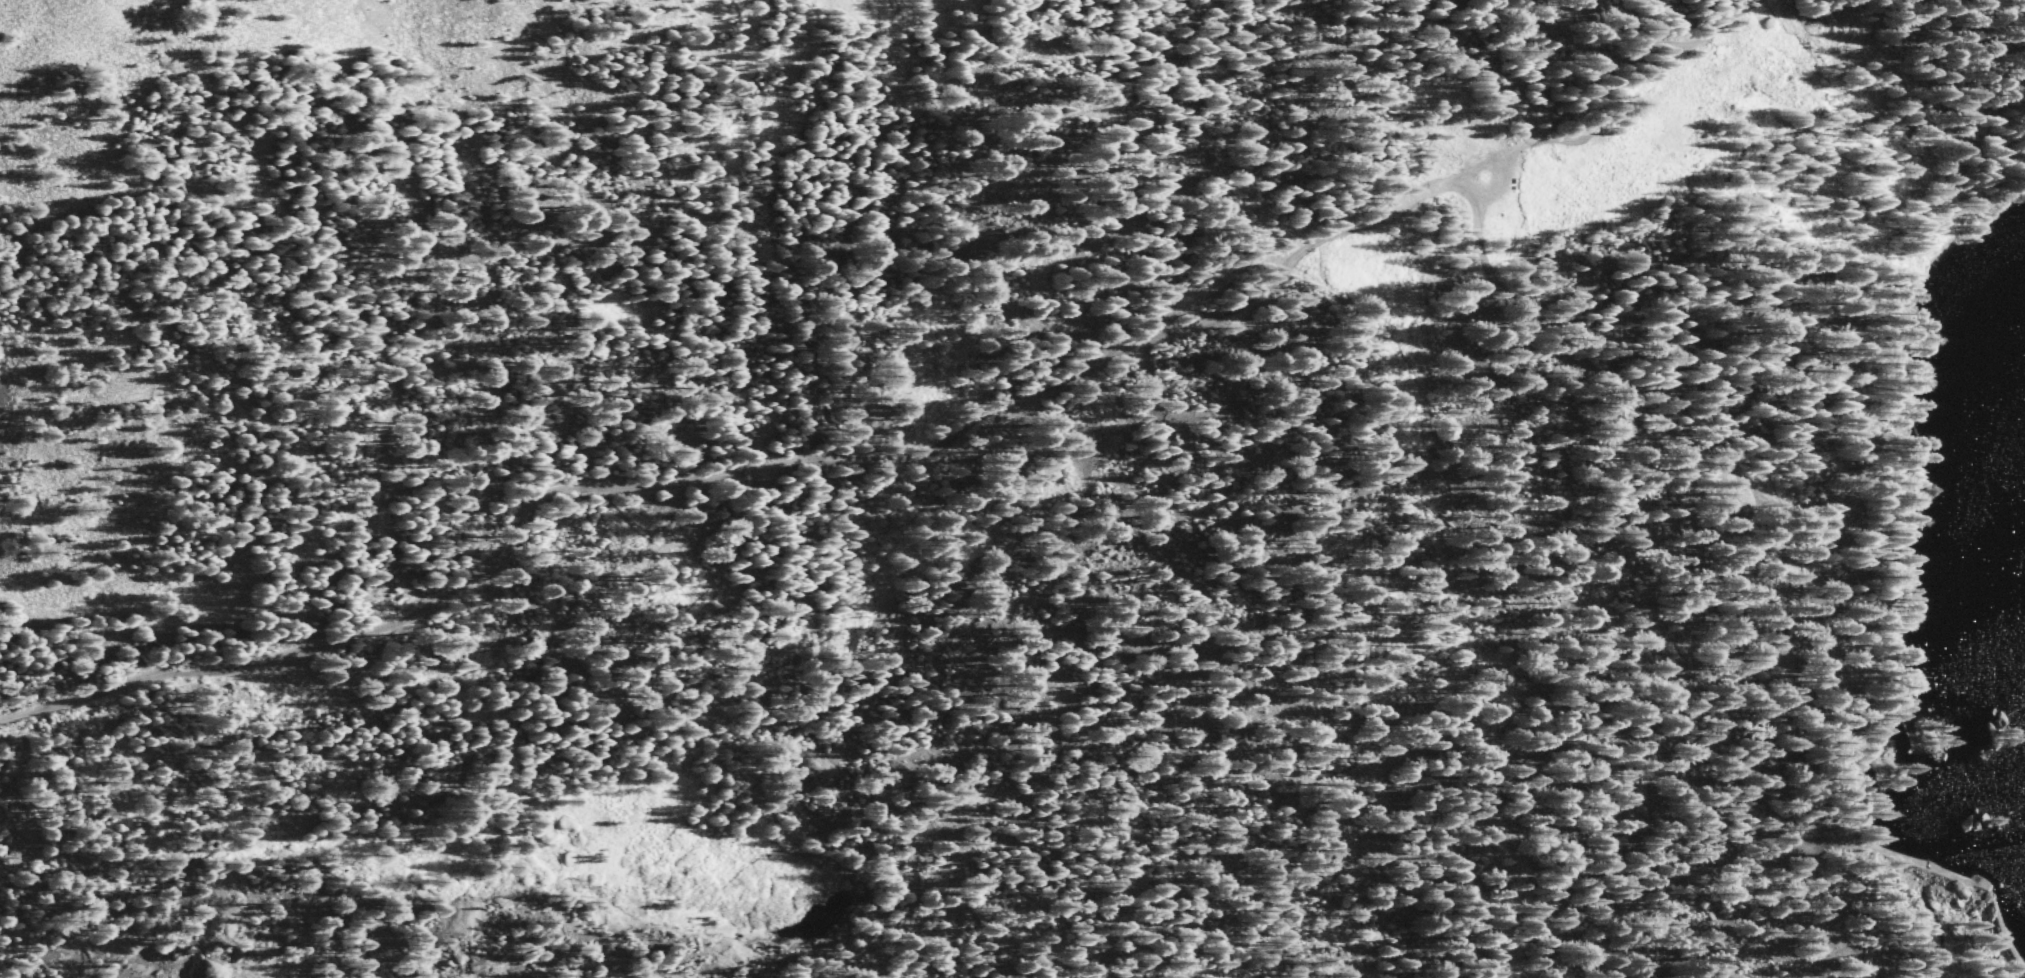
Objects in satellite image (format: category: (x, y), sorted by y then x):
road: (1603, 91)
road: (945, 441)
dam: (1967, 882)

